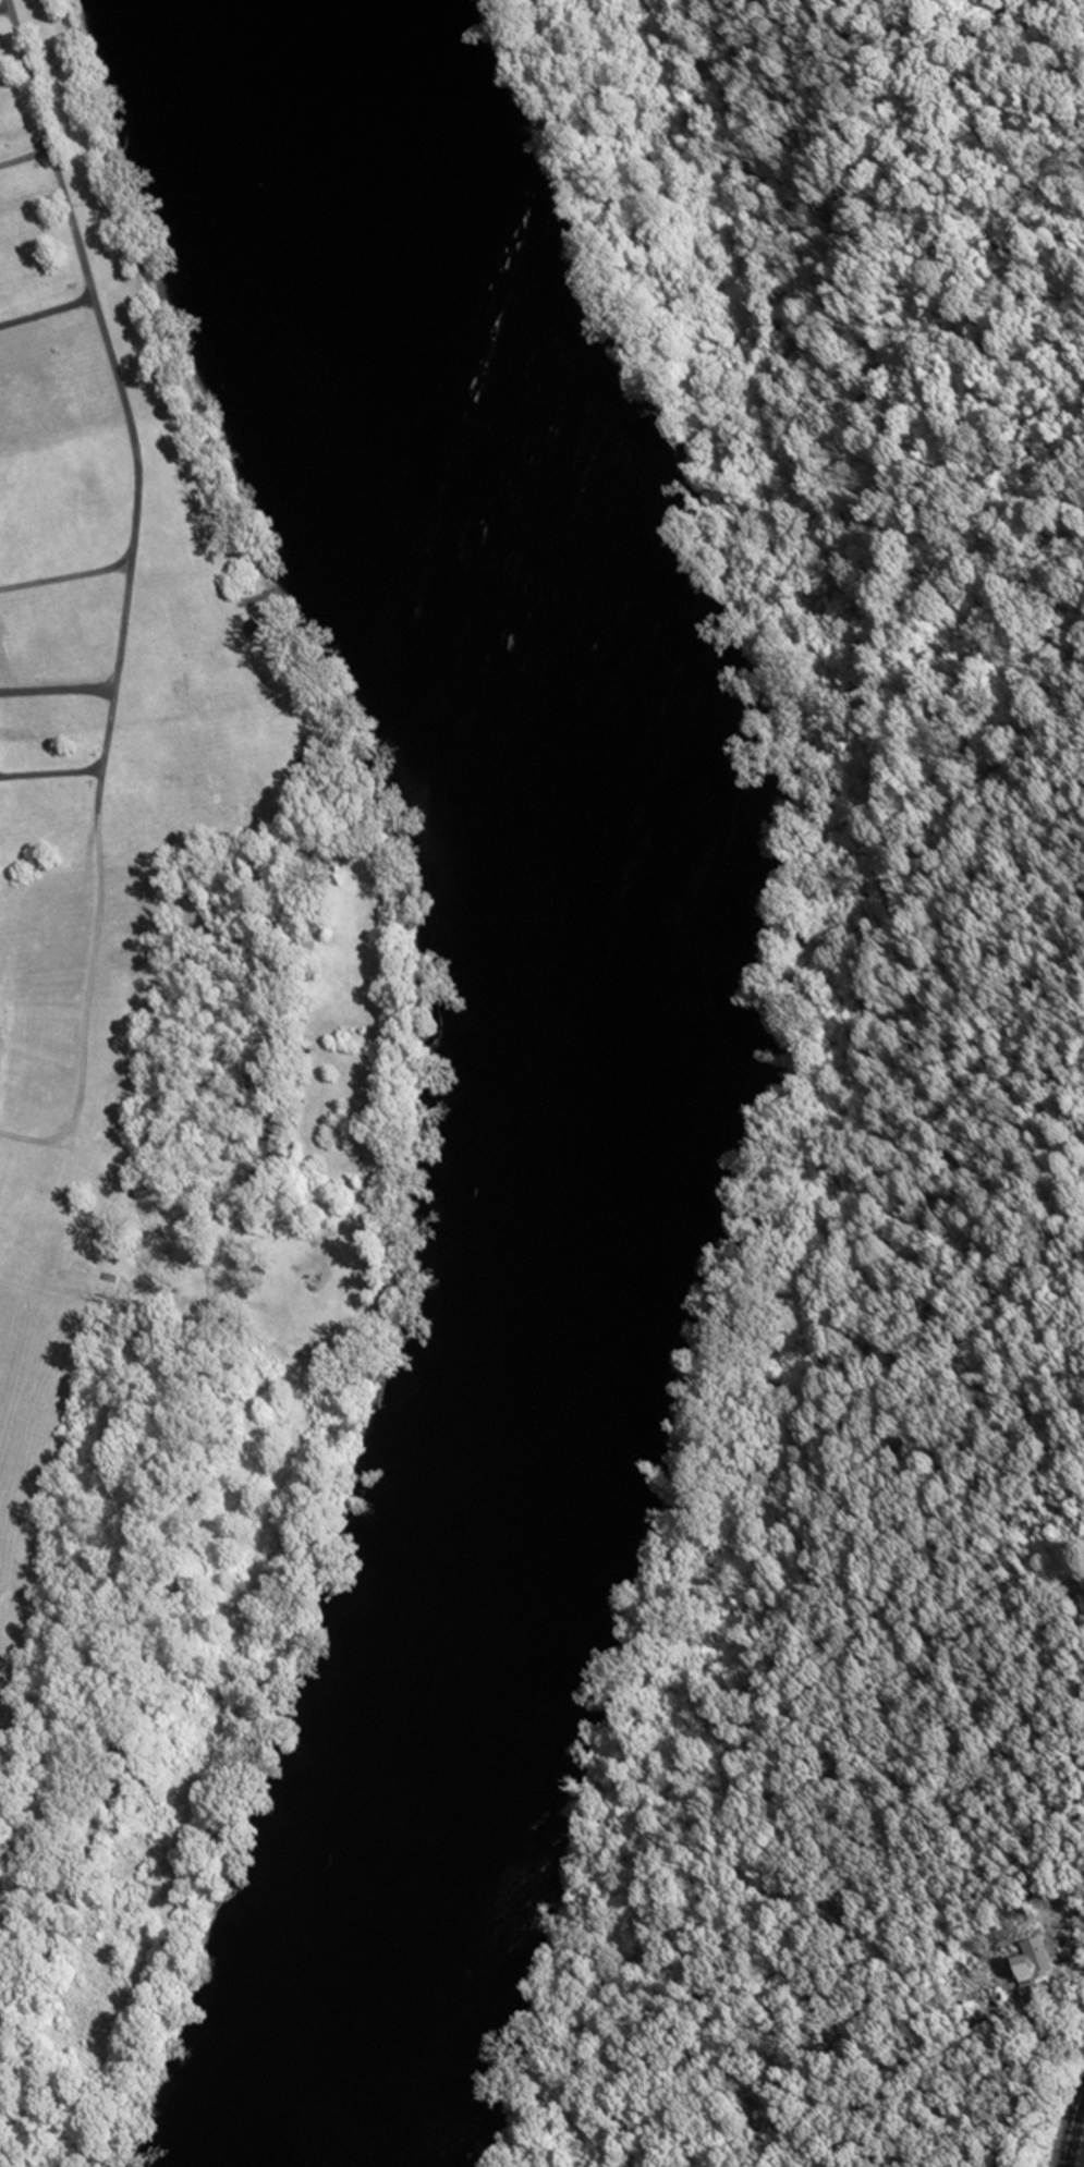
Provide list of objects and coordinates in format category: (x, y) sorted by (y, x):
road: (5, 10)
road: (25, 158)
road: (46, 308)
road: (64, 579)
road: (125, 594)
road: (58, 693)
road: (51, 776)
river: (592, 1079)
building: (1032, 1959)
road: (1072, 2123)

